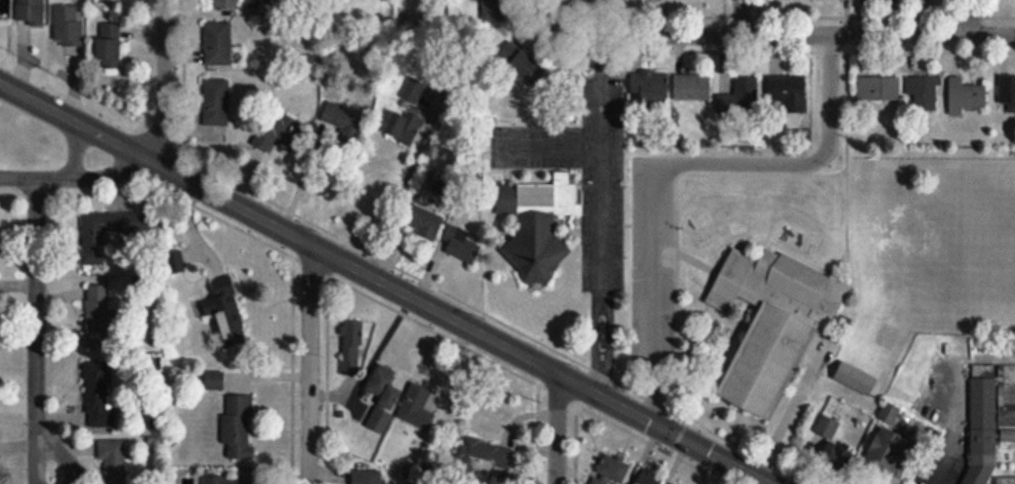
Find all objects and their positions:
building: (221, 4)
building: (1, 7)
building: (30, 12)
road: (543, 13)
road: (741, 17)
road: (968, 17)
building: (69, 26)
road: (782, 34)
building: (212, 41)
building: (108, 47)
building: (529, 68)
road: (163, 81)
building: (650, 86)
building: (692, 87)
building: (876, 90)
building: (1007, 91)
building: (924, 92)
building: (787, 94)
building: (741, 95)
building: (965, 96)
building: (211, 101)
building: (277, 131)
building: (407, 139)
road: (551, 141)
road: (74, 150)
road: (666, 159)
road: (407, 167)
road: (297, 176)
road: (75, 178)
road: (601, 214)
building: (110, 223)
building: (426, 223)
building: (537, 224)
building: (463, 244)
road: (385, 282)
road: (35, 310)
building: (225, 310)
building: (774, 323)
building: (352, 346)
building: (100, 357)
road: (311, 364)
building: (215, 381)
building: (383, 399)
building: (417, 409)
road: (950, 420)
building: (983, 426)
building: (239, 428)
road: (556, 428)
road: (44, 448)
building: (887, 449)
building: (482, 456)
building: (836, 457)
building: (113, 461)
building: (611, 470)
building: (369, 477)
building: (647, 477)
building: (228, 480)
building: (1006, 481)
building: (677, 483)

